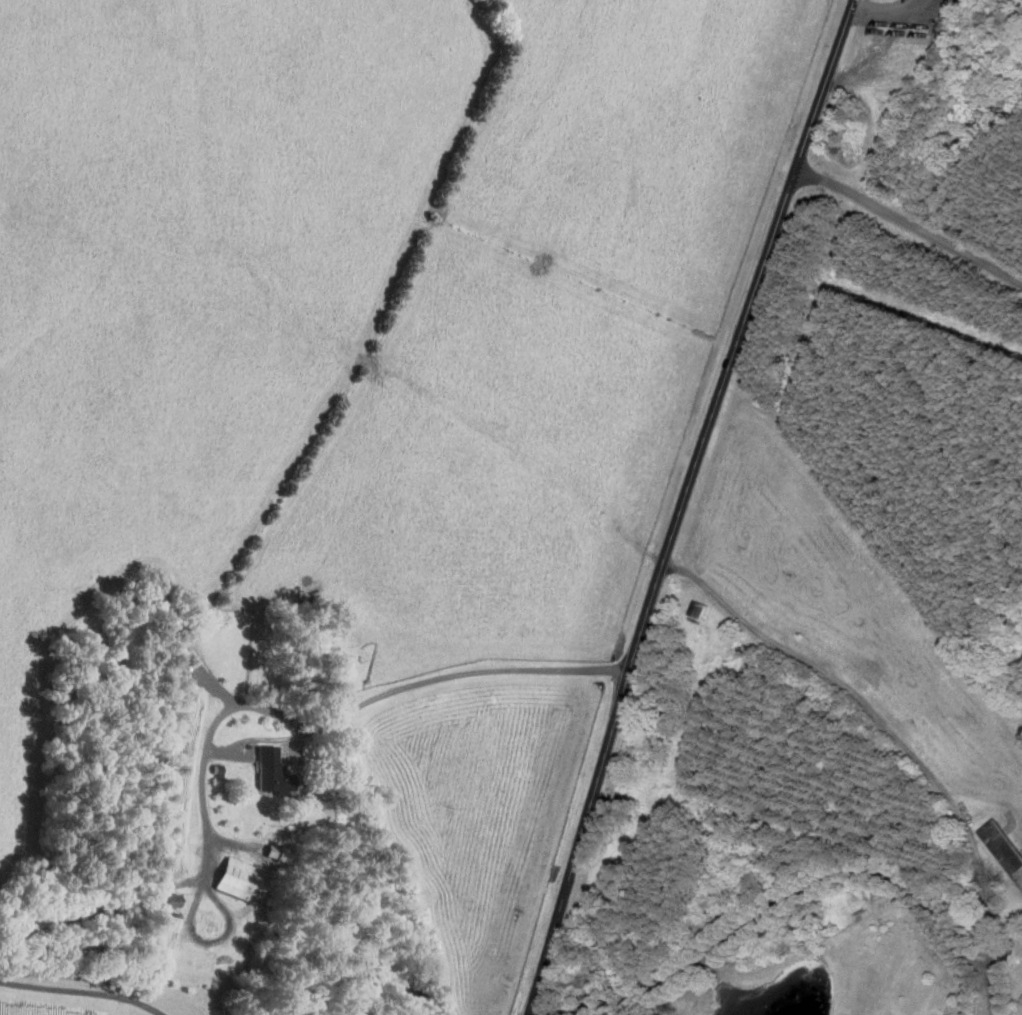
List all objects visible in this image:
road: (908, 219)
road: (681, 504)
airport runway: (887, 600)
building: (700, 610)
road: (344, 714)
building: (273, 770)
building: (1005, 845)
building: (237, 876)
building: (173, 899)
building: (164, 933)
road: (990, 963)

